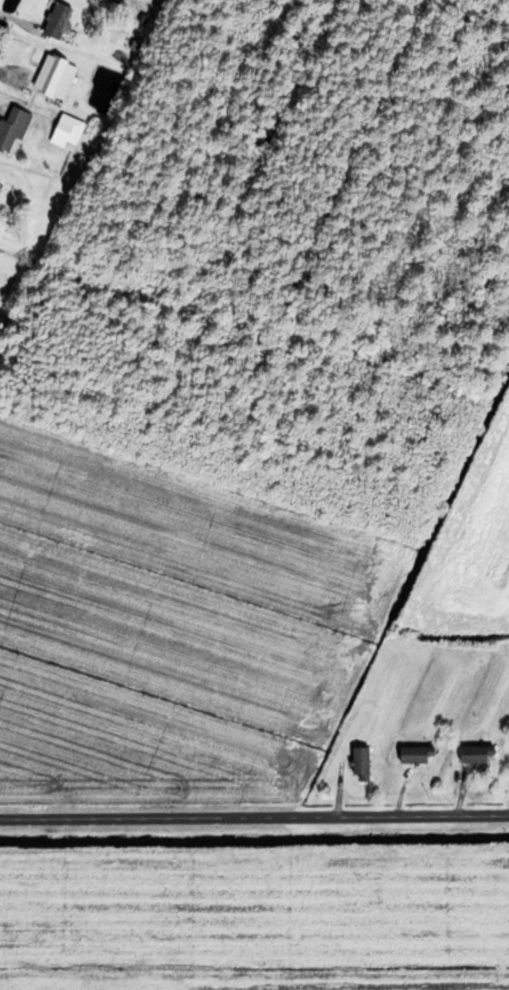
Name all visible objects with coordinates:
building: (57, 20)
building: (55, 77)
building: (13, 128)
building: (69, 129)
building: (417, 754)
building: (475, 754)
building: (361, 763)
road: (254, 820)

